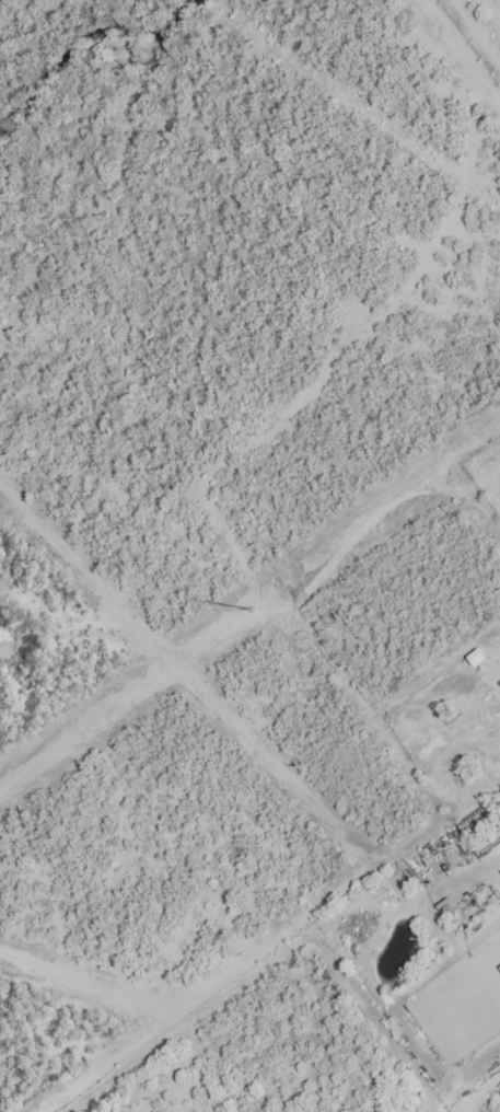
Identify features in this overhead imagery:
power tower: (251, 610)

